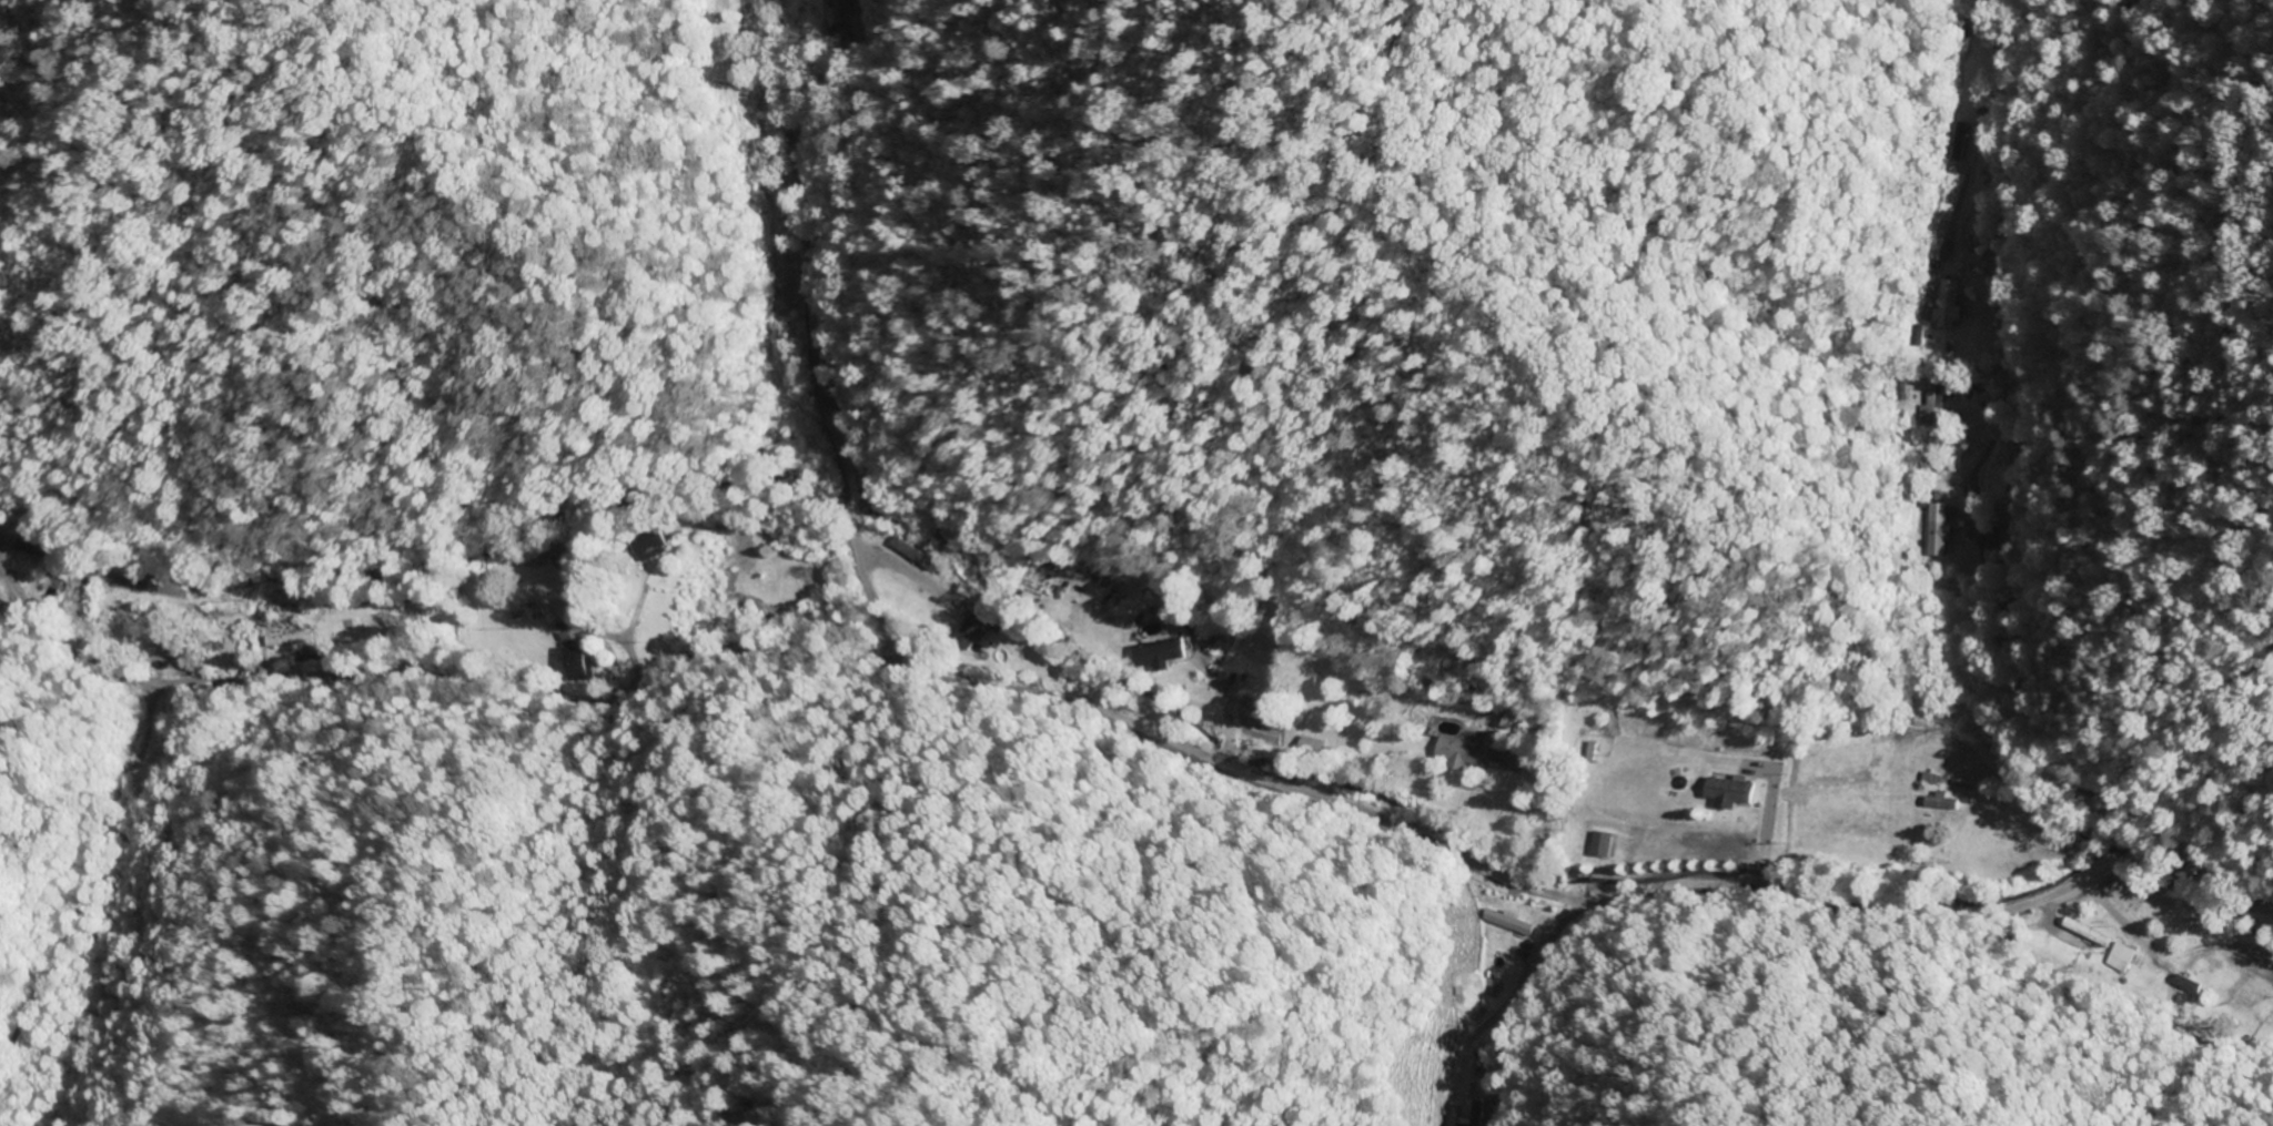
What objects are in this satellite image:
road: (698, 8)
road: (728, 39)
building: (1981, 106)
building: (1953, 141)
building: (1938, 248)
building: (1950, 304)
road: (824, 332)
building: (1931, 404)
building: (1939, 538)
building: (30, 542)
building: (917, 555)
road: (4, 577)
building: (406, 619)
building: (297, 630)
road: (2012, 640)
building: (1159, 655)
building: (575, 660)
building: (1512, 719)
road: (1136, 726)
building: (1458, 752)
building: (1972, 771)
building: (1729, 792)
building: (1942, 802)
building: (1604, 844)
building: (1519, 925)

